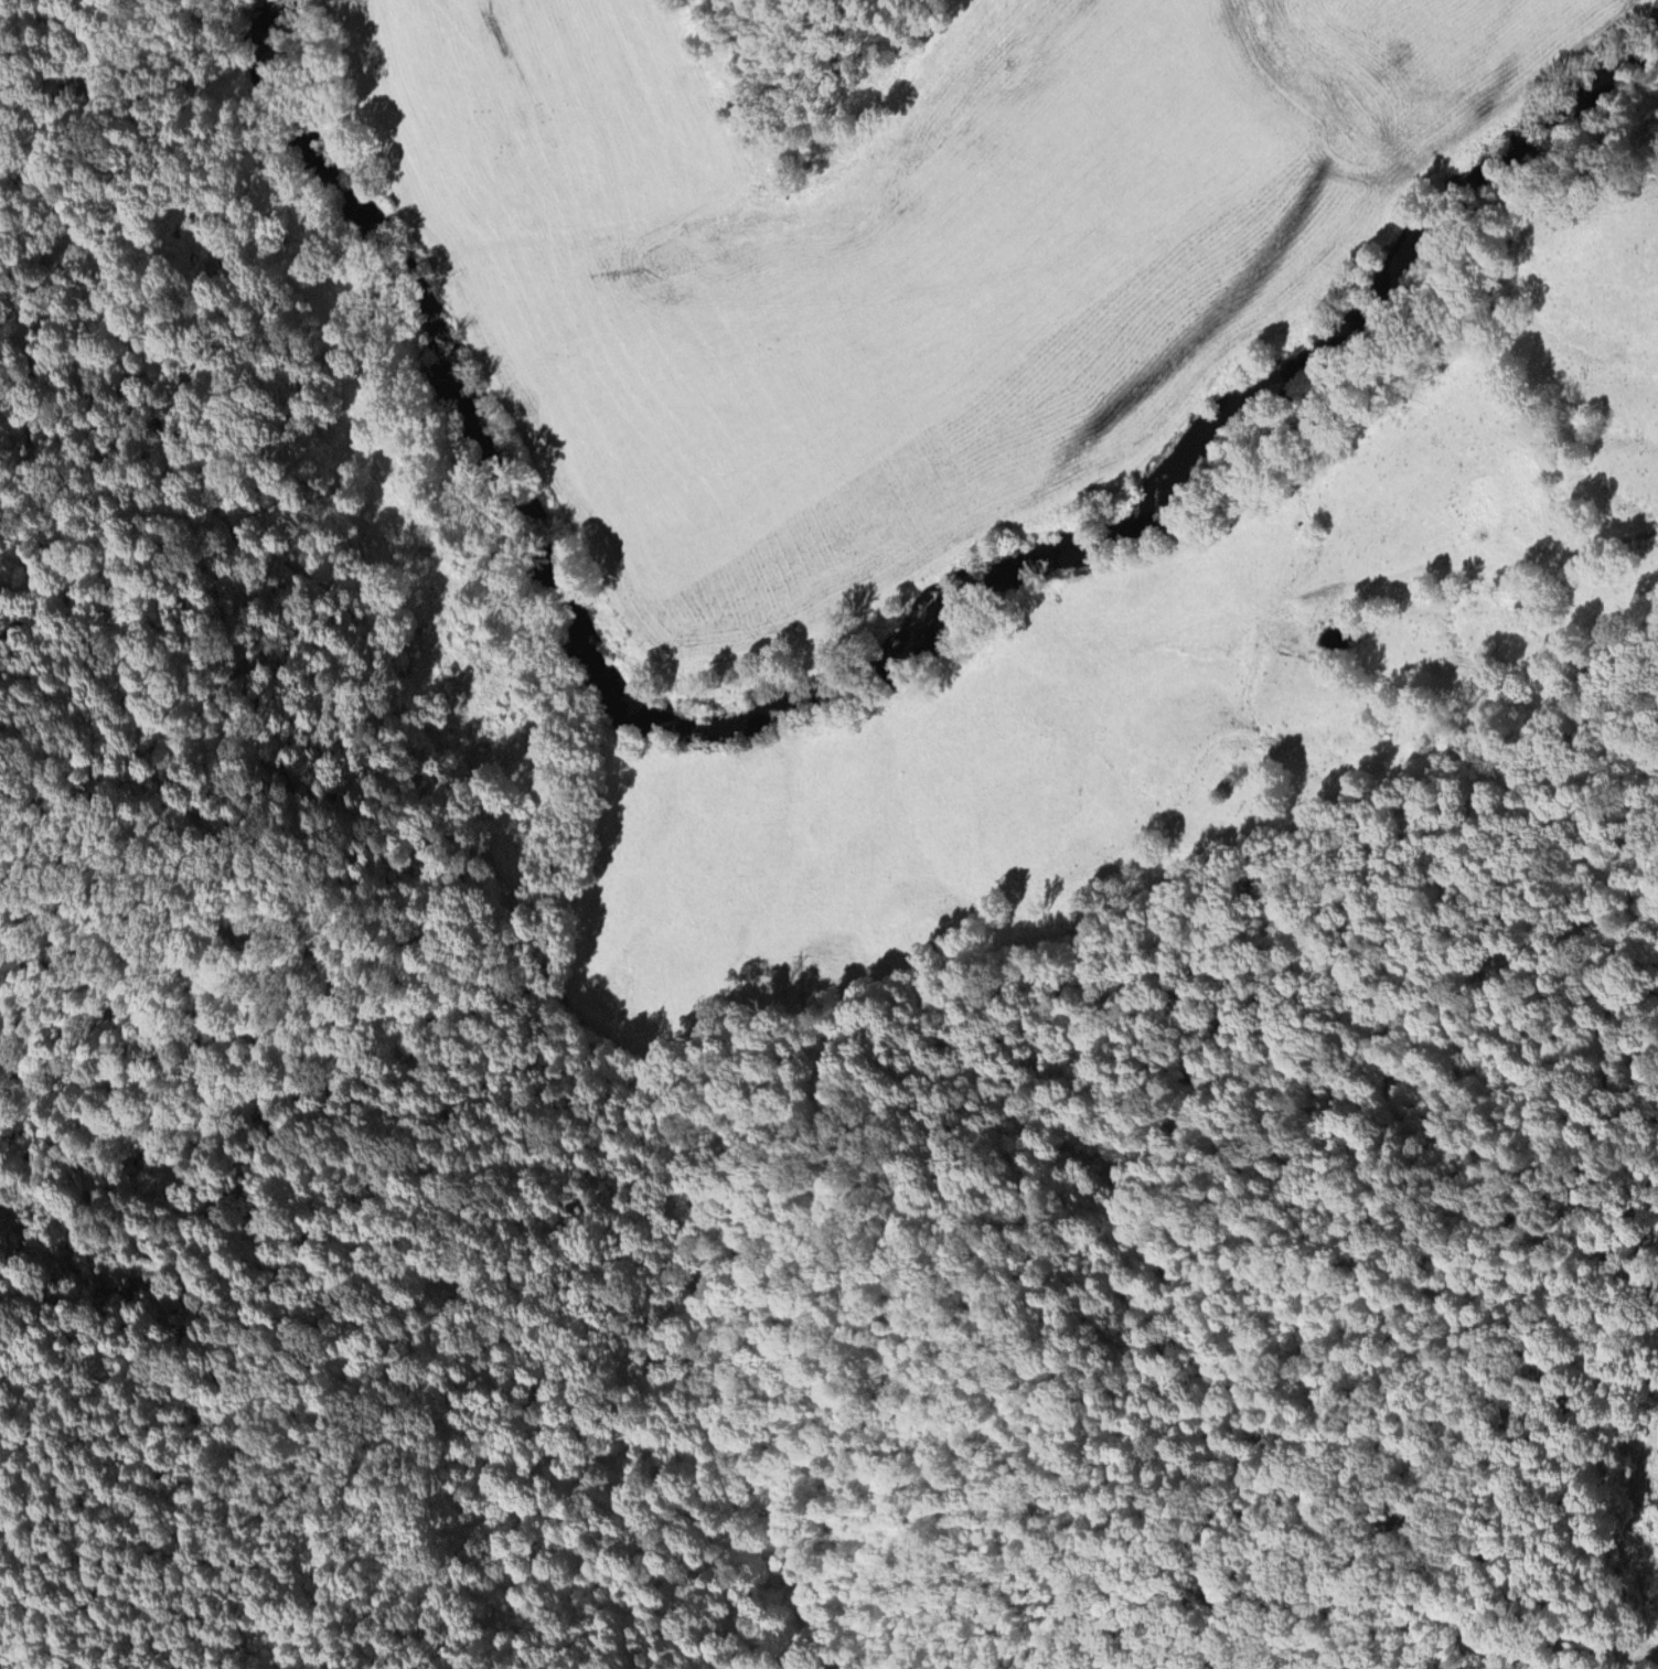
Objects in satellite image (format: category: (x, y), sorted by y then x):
road: (944, 1)
crop: (908, 264)
road: (1472, 553)
river: (858, 653)
road: (1639, 1550)
road: (1647, 1652)

